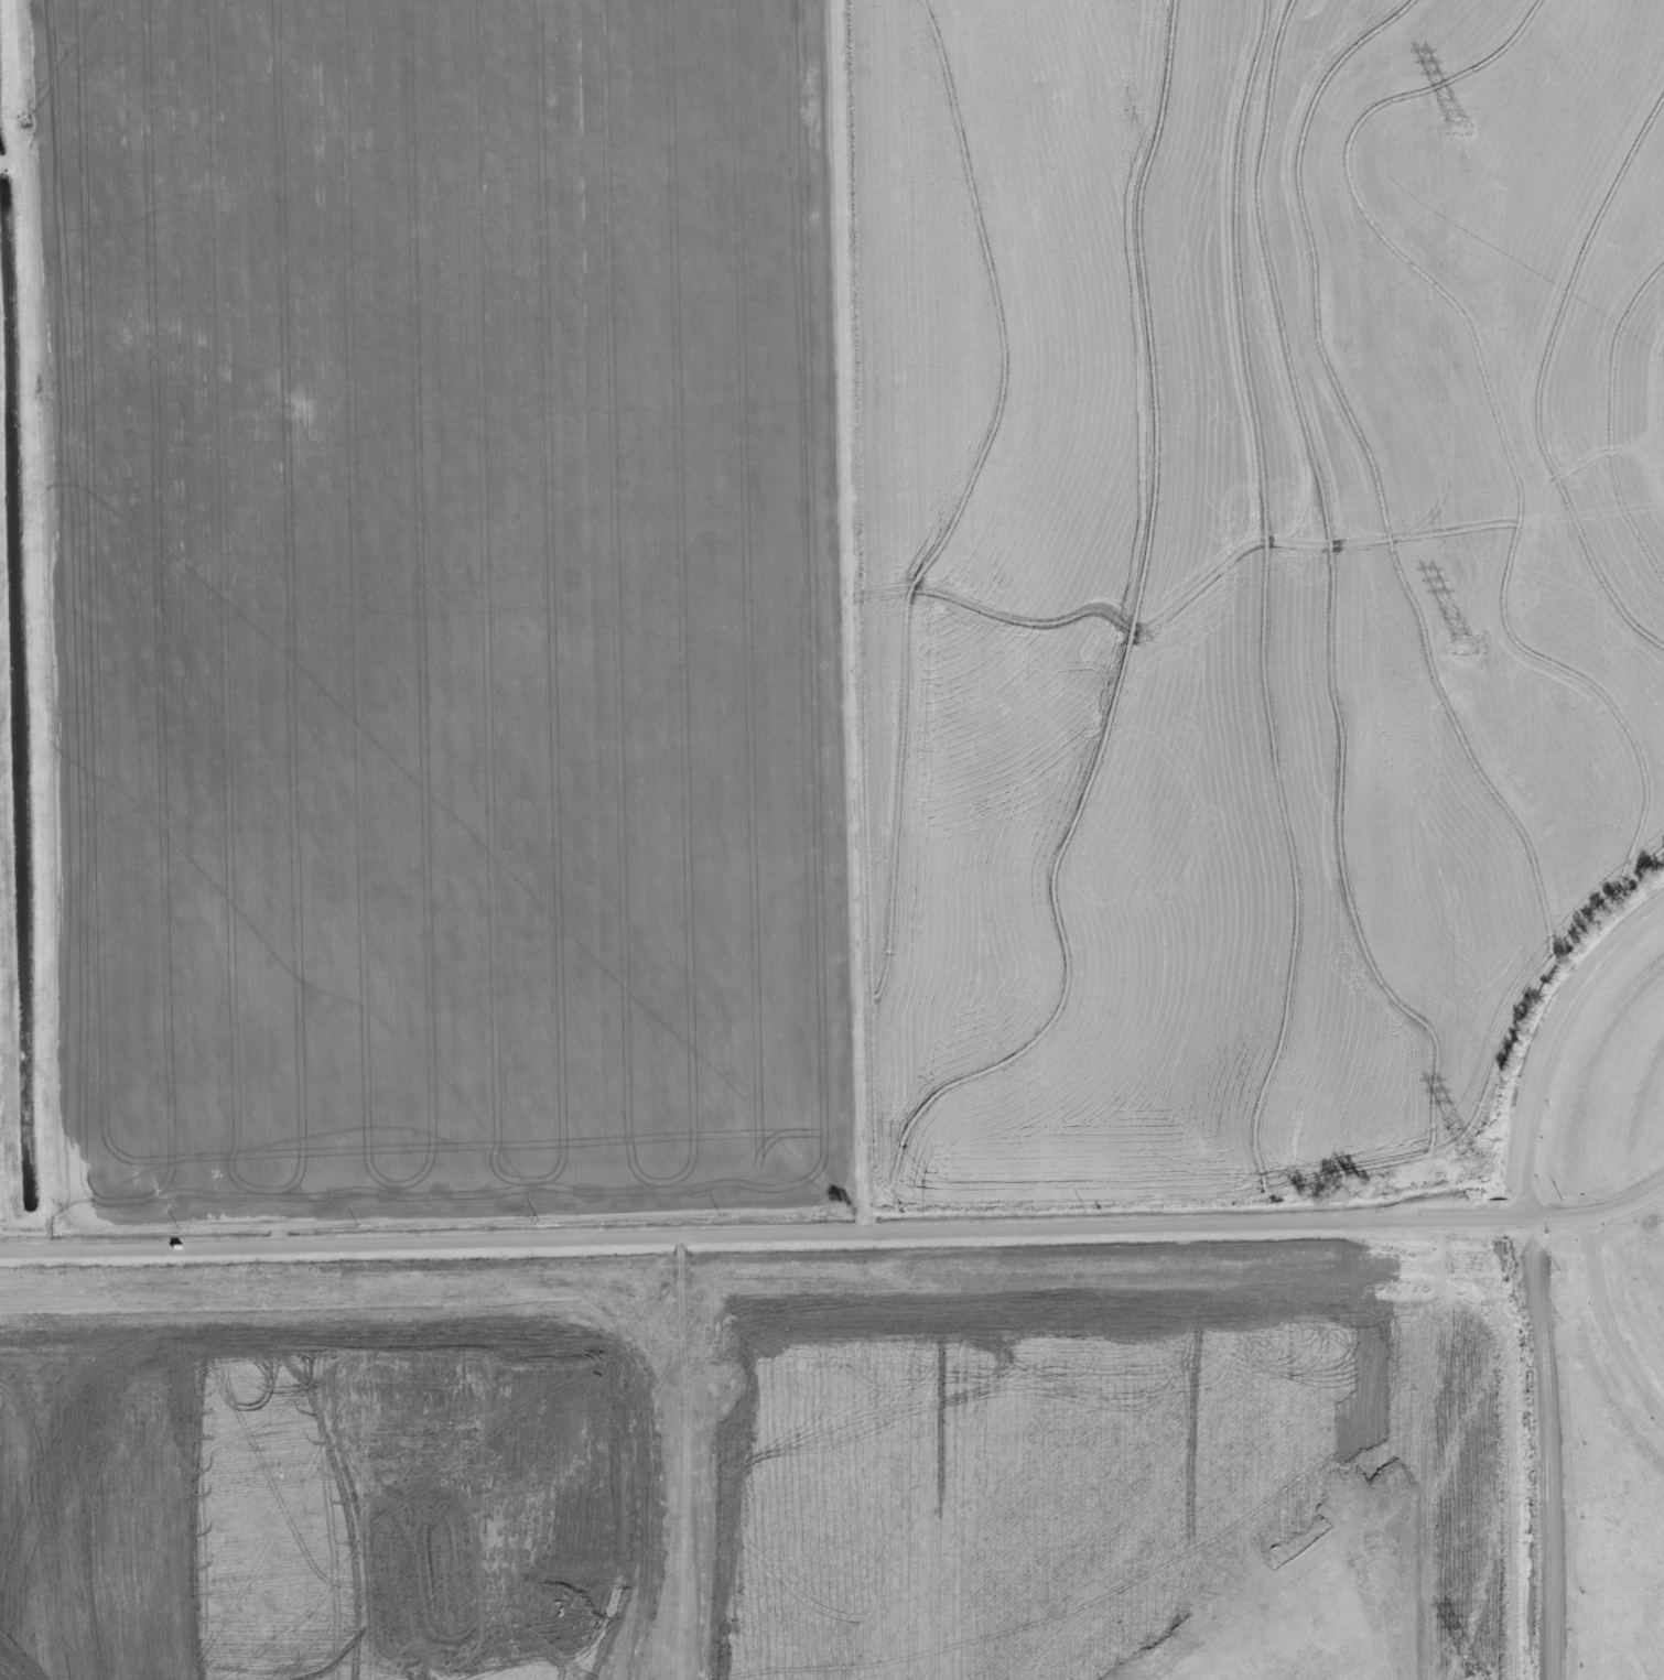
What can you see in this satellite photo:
power tower: (1458, 127)
power tower: (1465, 646)
road: (1192, 922)
road: (1560, 1051)
power tower: (1473, 1164)
road: (834, 1231)
road: (1607, 1324)

